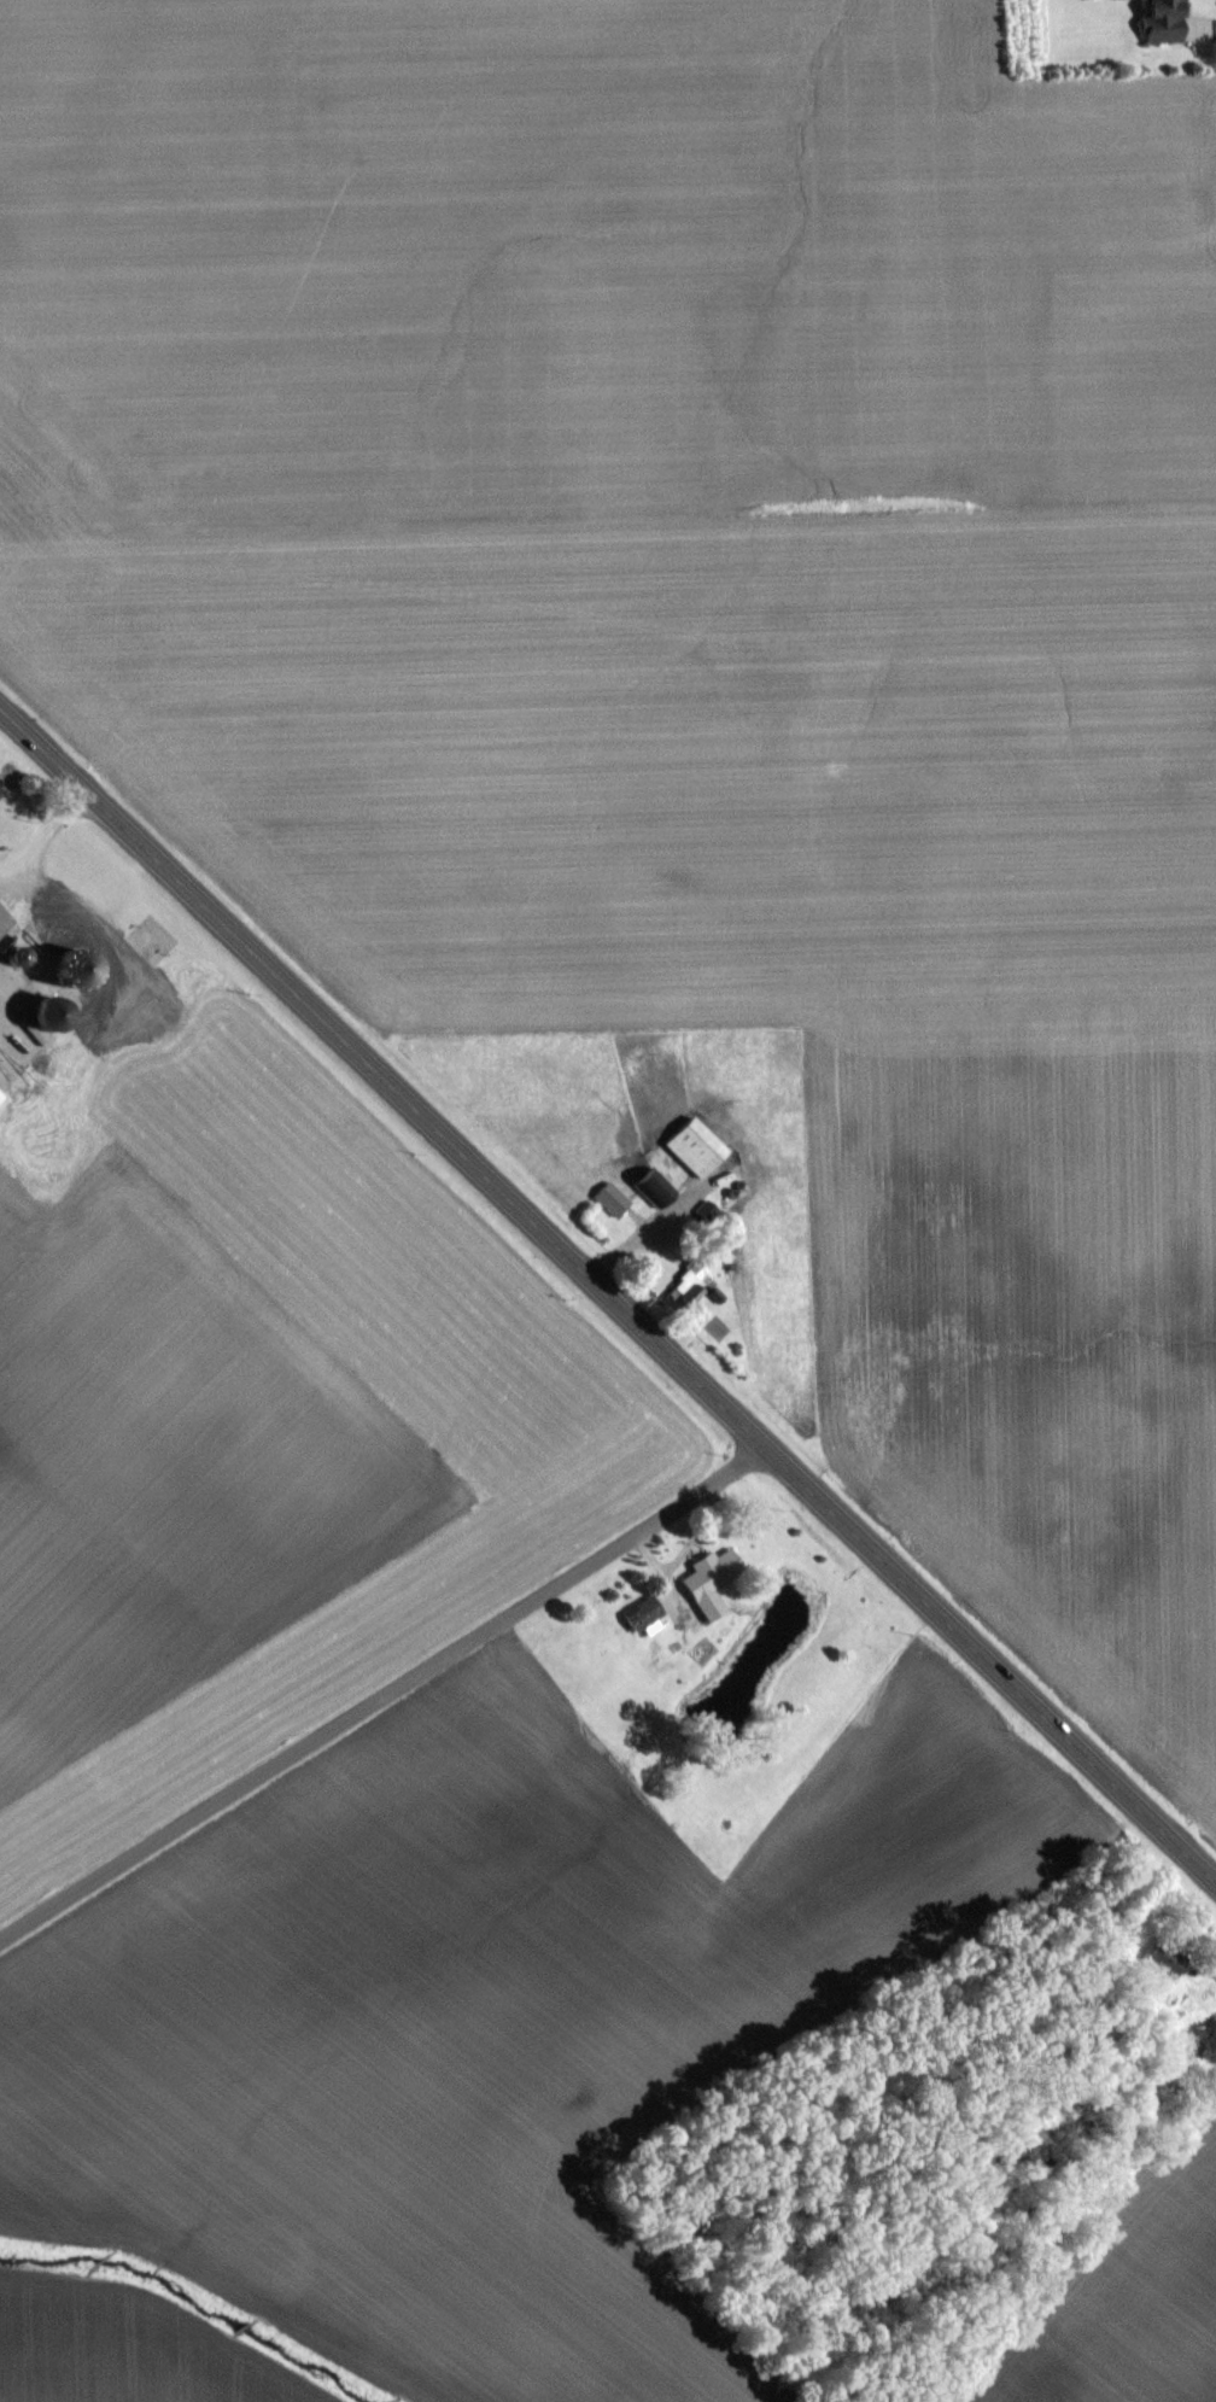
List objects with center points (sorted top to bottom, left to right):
building: (1158, 19)
road: (1214, 19)
road: (41, 834)
building: (71, 951)
building: (37, 1012)
building: (0, 1094)
building: (691, 1146)
building: (651, 1185)
building: (609, 1197)
building: (683, 1285)
road: (608, 1296)
building: (707, 1582)
building: (637, 1612)
road: (384, 1695)
building: (1162, 1957)

